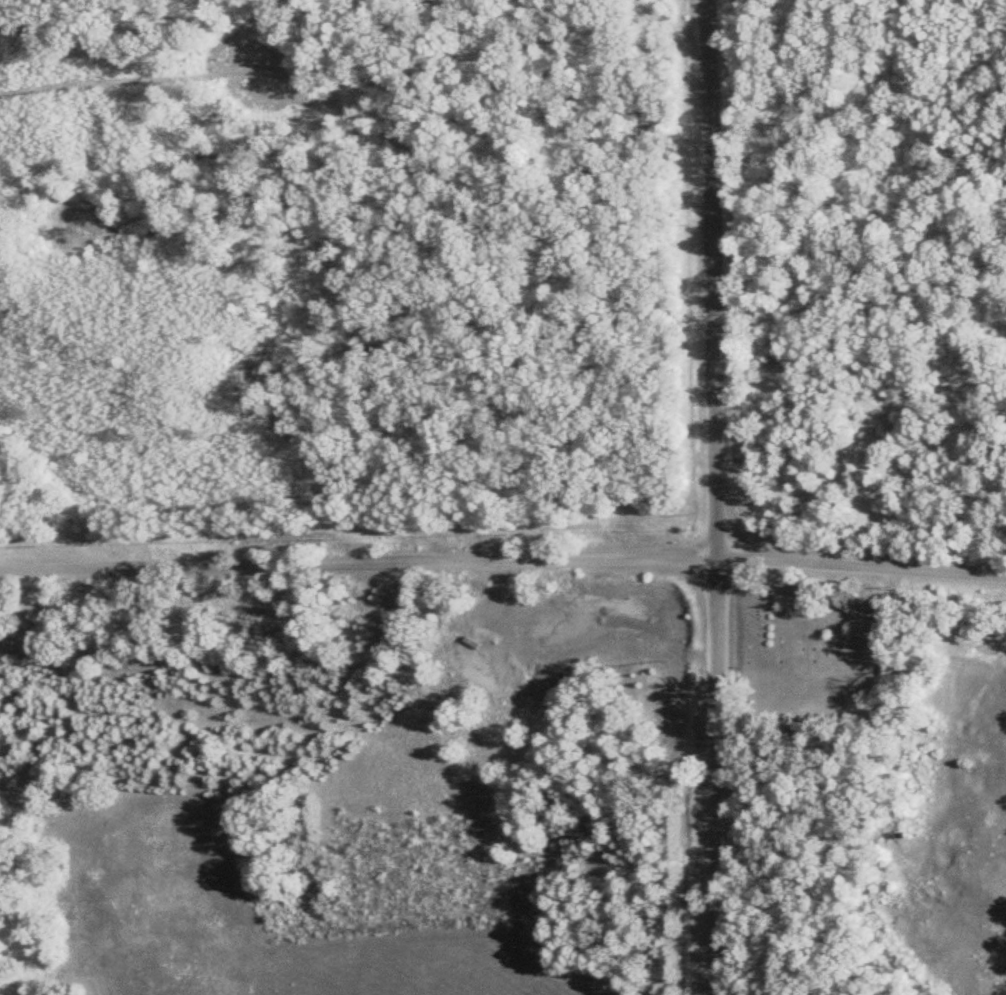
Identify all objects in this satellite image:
road: (716, 497)
road: (503, 557)
park: (812, 652)

